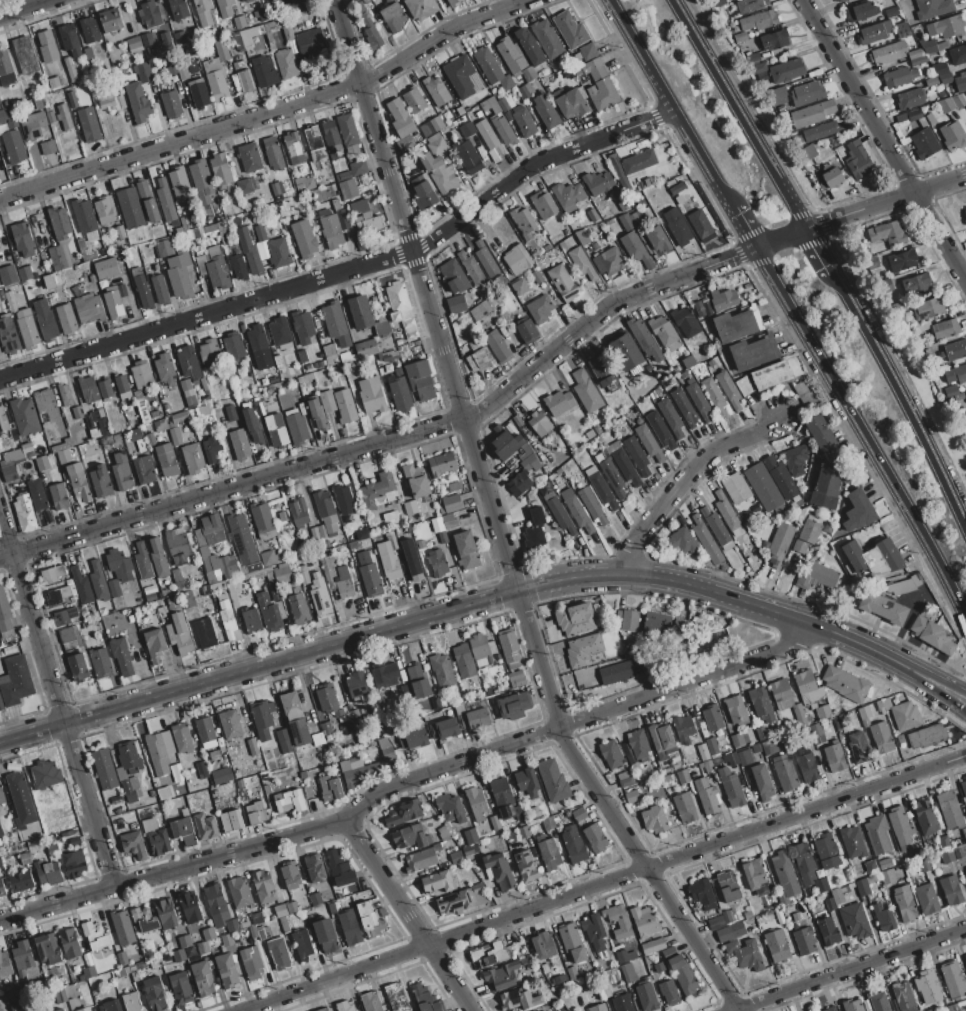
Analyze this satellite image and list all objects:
building: (247, 0)
building: (839, 0)
building: (305, 1)
building: (365, 1)
building: (452, 2)
building: (718, 2)
building: (287, 4)
building: (750, 5)
road: (22, 7)
building: (224, 7)
building: (421, 8)
building: (933, 8)
building: (178, 9)
building: (860, 11)
building: (203, 12)
building: (891, 12)
building: (150, 14)
building: (263, 14)
building: (393, 17)
building: (299, 18)
building: (110, 19)
building: (758, 20)
building: (239, 22)
building: (271, 27)
building: (946, 27)
building: (90, 30)
building: (255, 30)
building: (570, 30)
building: (901, 30)
building: (287, 32)
building: (874, 32)
building: (371, 33)
building: (740, 36)
building: (547, 38)
building: (69, 39)
building: (241, 39)
building: (774, 39)
building: (147, 41)
building: (307, 41)
building: (921, 43)
building: (134, 45)
building: (942, 45)
building: (47, 46)
building: (529, 46)
building: (929, 46)
building: (222, 50)
building: (588, 51)
building: (88, 53)
building: (888, 53)
building: (913, 54)
building: (25, 55)
building: (510, 55)
building: (958, 55)
building: (752, 58)
building: (918, 60)
building: (239, 64)
building: (285, 64)
building: (191, 65)
building: (759, 67)
building: (940, 68)
building: (70, 69)
building: (491, 69)
building: (6, 70)
building: (263, 71)
building: (786, 71)
building: (143, 72)
building: (529, 74)
building: (459, 75)
building: (570, 75)
building: (761, 76)
building: (898, 77)
building: (215, 78)
building: (945, 78)
building: (245, 80)
building: (931, 81)
building: (55, 82)
building: (960, 82)
building: (598, 83)
building: (526, 90)
building: (436, 91)
building: (198, 92)
building: (516, 93)
building: (807, 93)
building: (941, 94)
building: (777, 95)
building: (910, 99)
building: (72, 100)
building: (413, 100)
building: (958, 100)
building: (110, 101)
road: (670, 101)
building: (138, 102)
building: (38, 103)
building: (571, 103)
building: (171, 104)
building: (492, 104)
building: (503, 104)
building: (945, 104)
building: (483, 106)
building: (466, 109)
building: (475, 109)
building: (780, 109)
road: (267, 111)
building: (459, 111)
building: (546, 111)
building: (446, 114)
road: (737, 114)
building: (811, 114)
building: (5, 115)
building: (909, 115)
building: (50, 117)
building: (63, 117)
building: (400, 118)
building: (930, 119)
building: (524, 121)
road: (642, 122)
building: (436, 123)
building: (32, 124)
building: (88, 124)
building: (13, 125)
building: (347, 129)
building: (426, 129)
building: (467, 130)
building: (503, 130)
building: (823, 130)
building: (952, 135)
building: (488, 136)
building: (331, 137)
road: (883, 138)
building: (314, 143)
building: (924, 143)
building: (405, 144)
building: (436, 144)
building: (13, 147)
building: (47, 147)
building: (294, 147)
building: (353, 150)
building: (809, 151)
building: (274, 156)
building: (468, 156)
building: (249, 157)
building: (1, 160)
building: (857, 160)
building: (638, 163)
building: (358, 168)
building: (303, 169)
building: (221, 170)
building: (440, 173)
building: (619, 174)
building: (831, 175)
building: (343, 176)
building: (179, 180)
building: (201, 180)
building: (304, 183)
building: (597, 183)
building: (247, 185)
building: (678, 186)
building: (348, 189)
building: (275, 191)
road: (912, 192)
building: (424, 195)
building: (567, 195)
building: (166, 199)
building: (147, 201)
building: (542, 204)
building: (335, 205)
building: (686, 205)
building: (130, 208)
building: (441, 208)
road: (399, 209)
building: (103, 210)
building: (964, 213)
building: (84, 215)
building: (592, 215)
building: (208, 219)
building: (523, 220)
building: (634, 220)
building: (236, 221)
building: (59, 222)
building: (369, 222)
building: (626, 222)
building: (700, 222)
building: (677, 226)
road: (742, 226)
road: (806, 227)
building: (330, 229)
building: (119, 232)
building: (196, 232)
building: (261, 232)
building: (887, 233)
building: (566, 234)
building: (582, 237)
building: (22, 238)
building: (304, 238)
building: (657, 239)
building: (556, 240)
building: (546, 246)
building: (562, 246)
building: (164, 248)
building: (635, 249)
road: (816, 249)
building: (249, 250)
building: (85, 251)
building: (278, 252)
road: (729, 257)
building: (57, 258)
building: (486, 258)
building: (517, 259)
building: (898, 260)
building: (609, 261)
building: (582, 263)
building: (106, 266)
building: (151, 267)
building: (238, 267)
building: (471, 268)
building: (136, 271)
building: (217, 272)
building: (25, 273)
building: (179, 274)
building: (8, 275)
building: (34, 275)
building: (454, 276)
building: (536, 276)
building: (92, 279)
building: (157, 279)
building: (53, 280)
road: (315, 280)
building: (563, 282)
building: (917, 283)
building: (886, 285)
building: (520, 287)
building: (76, 290)
building: (143, 291)
building: (1, 295)
building: (723, 299)
building: (112, 300)
building: (10, 301)
building: (398, 301)
building: (457, 303)
building: (88, 307)
building: (897, 307)
building: (928, 307)
building: (540, 308)
building: (482, 309)
building: (699, 309)
building: (360, 312)
building: (381, 318)
building: (66, 319)
building: (45, 321)
building: (685, 321)
building: (335, 323)
building: (736, 325)
building: (303, 326)
building: (381, 327)
building: (27, 328)
building: (409, 328)
building: (525, 329)
building: (944, 329)
road: (578, 330)
building: (280, 332)
building: (663, 332)
building: (8, 334)
building: (644, 339)
building: (257, 340)
building: (383, 342)
building: (398, 342)
building: (497, 345)
building: (233, 347)
building: (362, 349)
building: (954, 349)
building: (209, 352)
building: (626, 352)
building: (753, 352)
building: (478, 353)
building: (329, 354)
building: (302, 355)
building: (389, 355)
building: (345, 356)
building: (277, 360)
building: (188, 361)
building: (686, 363)
building: (318, 364)
building: (308, 367)
building: (334, 368)
building: (600, 368)
building: (165, 369)
building: (348, 369)
building: (142, 374)
building: (955, 374)
building: (771, 375)
building: (308, 377)
building: (274, 379)
building: (420, 380)
building: (195, 381)
building: (669, 381)
building: (121, 383)
building: (184, 385)
building: (204, 385)
building: (284, 386)
building: (743, 386)
building: (88, 388)
building: (105, 388)
building: (728, 389)
building: (399, 391)
building: (586, 391)
building: (950, 391)
building: (804, 392)
building: (65, 394)
building: (255, 394)
building: (371, 394)
building: (655, 394)
building: (965, 394)
building: (713, 395)
building: (189, 397)
building: (958, 397)
building: (697, 399)
road: (901, 399)
building: (558, 403)
building: (339, 404)
building: (166, 406)
building: (683, 407)
building: (259, 408)
building: (302, 408)
building: (143, 411)
building: (204, 411)
building: (77, 412)
building: (221, 412)
building: (48, 414)
building: (317, 414)
building: (97, 415)
building: (24, 416)
building: (670, 417)
building: (964, 417)
building: (180, 418)
building: (517, 420)
building: (252, 424)
building: (539, 424)
building: (3, 425)
building: (296, 429)
building: (607, 429)
building: (276, 430)
building: (597, 430)
building: (660, 430)
building: (93, 433)
road: (863, 433)
building: (589, 434)
building: (176, 436)
building: (117, 437)
building: (150, 439)
building: (239, 442)
building: (648, 442)
building: (504, 443)
building: (827, 444)
building: (61, 445)
building: (26, 447)
building: (211, 449)
building: (524, 451)
building: (29, 454)
building: (636, 455)
building: (12, 458)
building: (193, 458)
building: (167, 459)
building: (795, 459)
building: (42, 463)
building: (530, 463)
building: (623, 463)
building: (442, 464)
building: (144, 469)
building: (122, 471)
building: (9, 474)
building: (610, 474)
building: (74, 475)
building: (780, 478)
building: (416, 480)
road: (689, 480)
building: (100, 481)
building: (519, 484)
building: (454, 486)
building: (826, 486)
road: (240, 487)
building: (763, 487)
building: (600, 488)
building: (376, 490)
building: (738, 490)
building: (37, 494)
building: (59, 496)
building: (344, 502)
building: (589, 502)
building: (450, 503)
building: (628, 505)
building: (576, 510)
building: (858, 510)
building: (411, 511)
building: (24, 512)
building: (298, 512)
building: (557, 512)
building: (727, 514)
building: (536, 515)
building: (324, 516)
building: (390, 516)
building: (282, 517)
building: (263, 520)
building: (449, 521)
building: (717, 528)
building: (439, 529)
building: (209, 531)
building: (363, 534)
building: (806, 536)
building: (533, 537)
building: (241, 539)
building: (706, 540)
building: (681, 541)
building: (780, 543)
building: (352, 545)
building: (177, 547)
building: (466, 550)
building: (271, 557)
building: (158, 558)
building: (872, 558)
road: (7, 559)
building: (390, 559)
building: (411, 559)
building: (142, 561)
building: (437, 562)
building: (119, 564)
building: (218, 566)
building: (253, 567)
building: (198, 573)
building: (51, 574)
building: (282, 574)
building: (303, 574)
building: (177, 576)
building: (816, 576)
building: (337, 577)
road: (566, 579)
building: (370, 580)
building: (98, 582)
building: (81, 586)
building: (903, 586)
building: (113, 588)
building: (205, 590)
building: (273, 590)
building: (169, 593)
building: (58, 595)
building: (320, 595)
road: (717, 595)
building: (150, 597)
building: (128, 598)
building: (186, 599)
building: (118, 604)
building: (298, 607)
building: (882, 608)
building: (268, 611)
building: (4, 612)
building: (64, 616)
building: (131, 618)
building: (575, 619)
building: (627, 619)
building: (227, 620)
building: (251, 621)
building: (656, 623)
building: (684, 628)
building: (205, 633)
building: (66, 634)
building: (179, 634)
building: (932, 635)
building: (704, 643)
building: (155, 645)
building: (10, 649)
building: (480, 649)
building: (509, 649)
building: (582, 649)
building: (628, 653)
building: (121, 656)
road: (893, 656)
building: (464, 661)
building: (99, 662)
building: (78, 666)
road: (258, 666)
road: (894, 666)
building: (442, 670)
building: (621, 671)
building: (385, 673)
building: (516, 678)
building: (4, 679)
building: (16, 681)
building: (419, 681)
building: (845, 684)
building: (356, 685)
building: (805, 685)
building: (402, 692)
road: (59, 699)
building: (328, 699)
building: (786, 701)
building: (1, 704)
building: (761, 704)
building: (513, 705)
building: (879, 707)
building: (736, 710)
traffic signals: (962, 711)
building: (822, 712)
building: (864, 713)
building: (903, 714)
building: (354, 715)
building: (712, 717)
building: (262, 718)
building: (295, 718)
building: (475, 718)
building: (839, 721)
building: (631, 724)
building: (231, 728)
building: (325, 728)
building: (444, 728)
building: (683, 728)
building: (208, 731)
road: (565, 731)
building: (760, 733)
building: (812, 734)
building: (927, 736)
building: (181, 737)
building: (413, 738)
building: (881, 738)
building: (899, 738)
building: (317, 739)
building: (739, 739)
building: (284, 740)
building: (661, 740)
building: (638, 743)
building: (252, 746)
building: (625, 746)
building: (769, 747)
building: (858, 747)
building: (712, 748)
building: (388, 752)
building: (702, 752)
building: (156, 753)
building: (214, 754)
building: (610, 754)
building: (834, 756)
building: (129, 757)
building: (745, 757)
building: (333, 759)
building: (717, 762)
building: (805, 764)
building: (200, 767)
building: (708, 767)
building: (104, 768)
building: (667, 770)
building: (356, 771)
building: (178, 772)
building: (784, 772)
building: (121, 773)
building: (644, 773)
building: (303, 774)
building: (693, 774)
building: (45, 775)
building: (221, 775)
building: (682, 776)
building: (666, 778)
road: (409, 780)
building: (553, 780)
building: (624, 780)
building: (527, 781)
building: (730, 782)
building: (762, 782)
building: (963, 787)
building: (131, 788)
building: (329, 788)
building: (267, 789)
building: (163, 792)
building: (215, 792)
building: (151, 793)
building: (2, 796)
building: (241, 796)
building: (632, 796)
building: (707, 796)
building: (505, 799)
building: (20, 800)
building: (216, 801)
building: (287, 802)
building: (476, 803)
building: (965, 807)
building: (450, 808)
building: (685, 808)
building: (949, 810)
building: (255, 811)
building: (184, 812)
building: (403, 813)
building: (534, 813)
building: (578, 814)
building: (925, 817)
building: (654, 819)
building: (230, 820)
building: (494, 822)
building: (548, 823)
building: (899, 825)
building: (205, 826)
building: (183, 831)
building: (524, 831)
building: (1, 832)
building: (444, 832)
building: (963, 833)
building: (877, 834)
building: (470, 835)
building: (411, 836)
building: (68, 837)
building: (156, 837)
building: (595, 837)
building: (943, 842)
building: (852, 843)
building: (133, 844)
building: (573, 844)
building: (470, 849)
road: (697, 849)
building: (52, 850)
building: (826, 851)
building: (958, 852)
building: (549, 854)
building: (918, 854)
building: (947, 855)
building: (456, 857)
building: (24, 858)
building: (422, 859)
building: (75, 863)
building: (884, 863)
building: (924, 864)
building: (0, 865)
building: (525, 865)
building: (314, 867)
building: (870, 867)
building: (806, 868)
building: (965, 868)
building: (339, 869)
building: (499, 870)
building: (47, 873)
building: (754, 873)
building: (785, 874)
building: (847, 874)
building: (887, 876)
building: (290, 877)
building: (873, 878)
building: (964, 879)
building: (20, 881)
building: (437, 881)
building: (851, 885)
building: (263, 886)
building: (728, 886)
building: (861, 886)
building: (478, 888)
building: (2, 889)
building: (844, 889)
building: (951, 891)
building: (239, 892)
building: (702, 893)
building: (836, 896)
building: (315, 898)
building: (926, 899)
building: (454, 902)
building: (904, 904)
building: (216, 905)
building: (829, 905)
building: (292, 907)
building: (190, 908)
building: (280, 910)
building: (165, 914)
building: (747, 915)
building: (778, 915)
road: (408, 916)
building: (729, 916)
building: (795, 917)
building: (257, 918)
building: (883, 918)
building: (145, 919)
building: (369, 920)
building: (618, 920)
building: (854, 921)
building: (644, 922)
building: (715, 923)
building: (232, 925)
building: (284, 925)
building: (122, 927)
building: (350, 927)
building: (87, 928)
building: (253, 932)
building: (828, 932)
building: (208, 933)
building: (261, 933)
building: (595, 934)
building: (725, 934)
building: (324, 935)
building: (740, 938)
building: (227, 940)
building: (184, 941)
building: (804, 941)
building: (100, 942)
building: (571, 942)
building: (302, 945)
building: (543, 945)
building: (776, 945)
building: (169, 946)
building: (653, 946)
building: (47, 948)
building: (69, 948)
building: (202, 948)
building: (189, 952)
building: (279, 954)
building: (489, 954)
building: (745, 954)
building: (179, 955)
building: (625, 956)
building: (23, 957)
building: (122, 958)
building: (167, 958)
building: (965, 958)
building: (87, 959)
building: (250, 963)
building: (4, 965)
building: (140, 965)
building: (659, 967)
road: (851, 969)
building: (226, 970)
building: (632, 971)
building: (89, 972)
building: (681, 972)
building: (572, 973)
building: (501, 976)
road: (334, 977)
building: (202, 978)
building: (953, 979)
building: (927, 987)
building: (180, 989)
building: (607, 991)
building: (669, 992)
building: (154, 993)
building: (902, 995)
building: (12, 996)
building: (60, 996)
building: (396, 997)
building: (646, 997)
building: (426, 999)
building: (519, 999)
building: (370, 1001)
building: (878, 1001)
building: (131, 1002)
building: (621, 1003)
building: (110, 1005)
building: (851, 1005)
building: (894, 1005)
building: (17, 1006)
building: (345, 1006)
building: (598, 1008)
building: (830, 1008)
building: (960, 1008)
building: (83, 1009)
building: (322, 1009)
building: (60, 1010)
building: (536, 1010)
building: (543, 1010)
building: (929, 1010)

